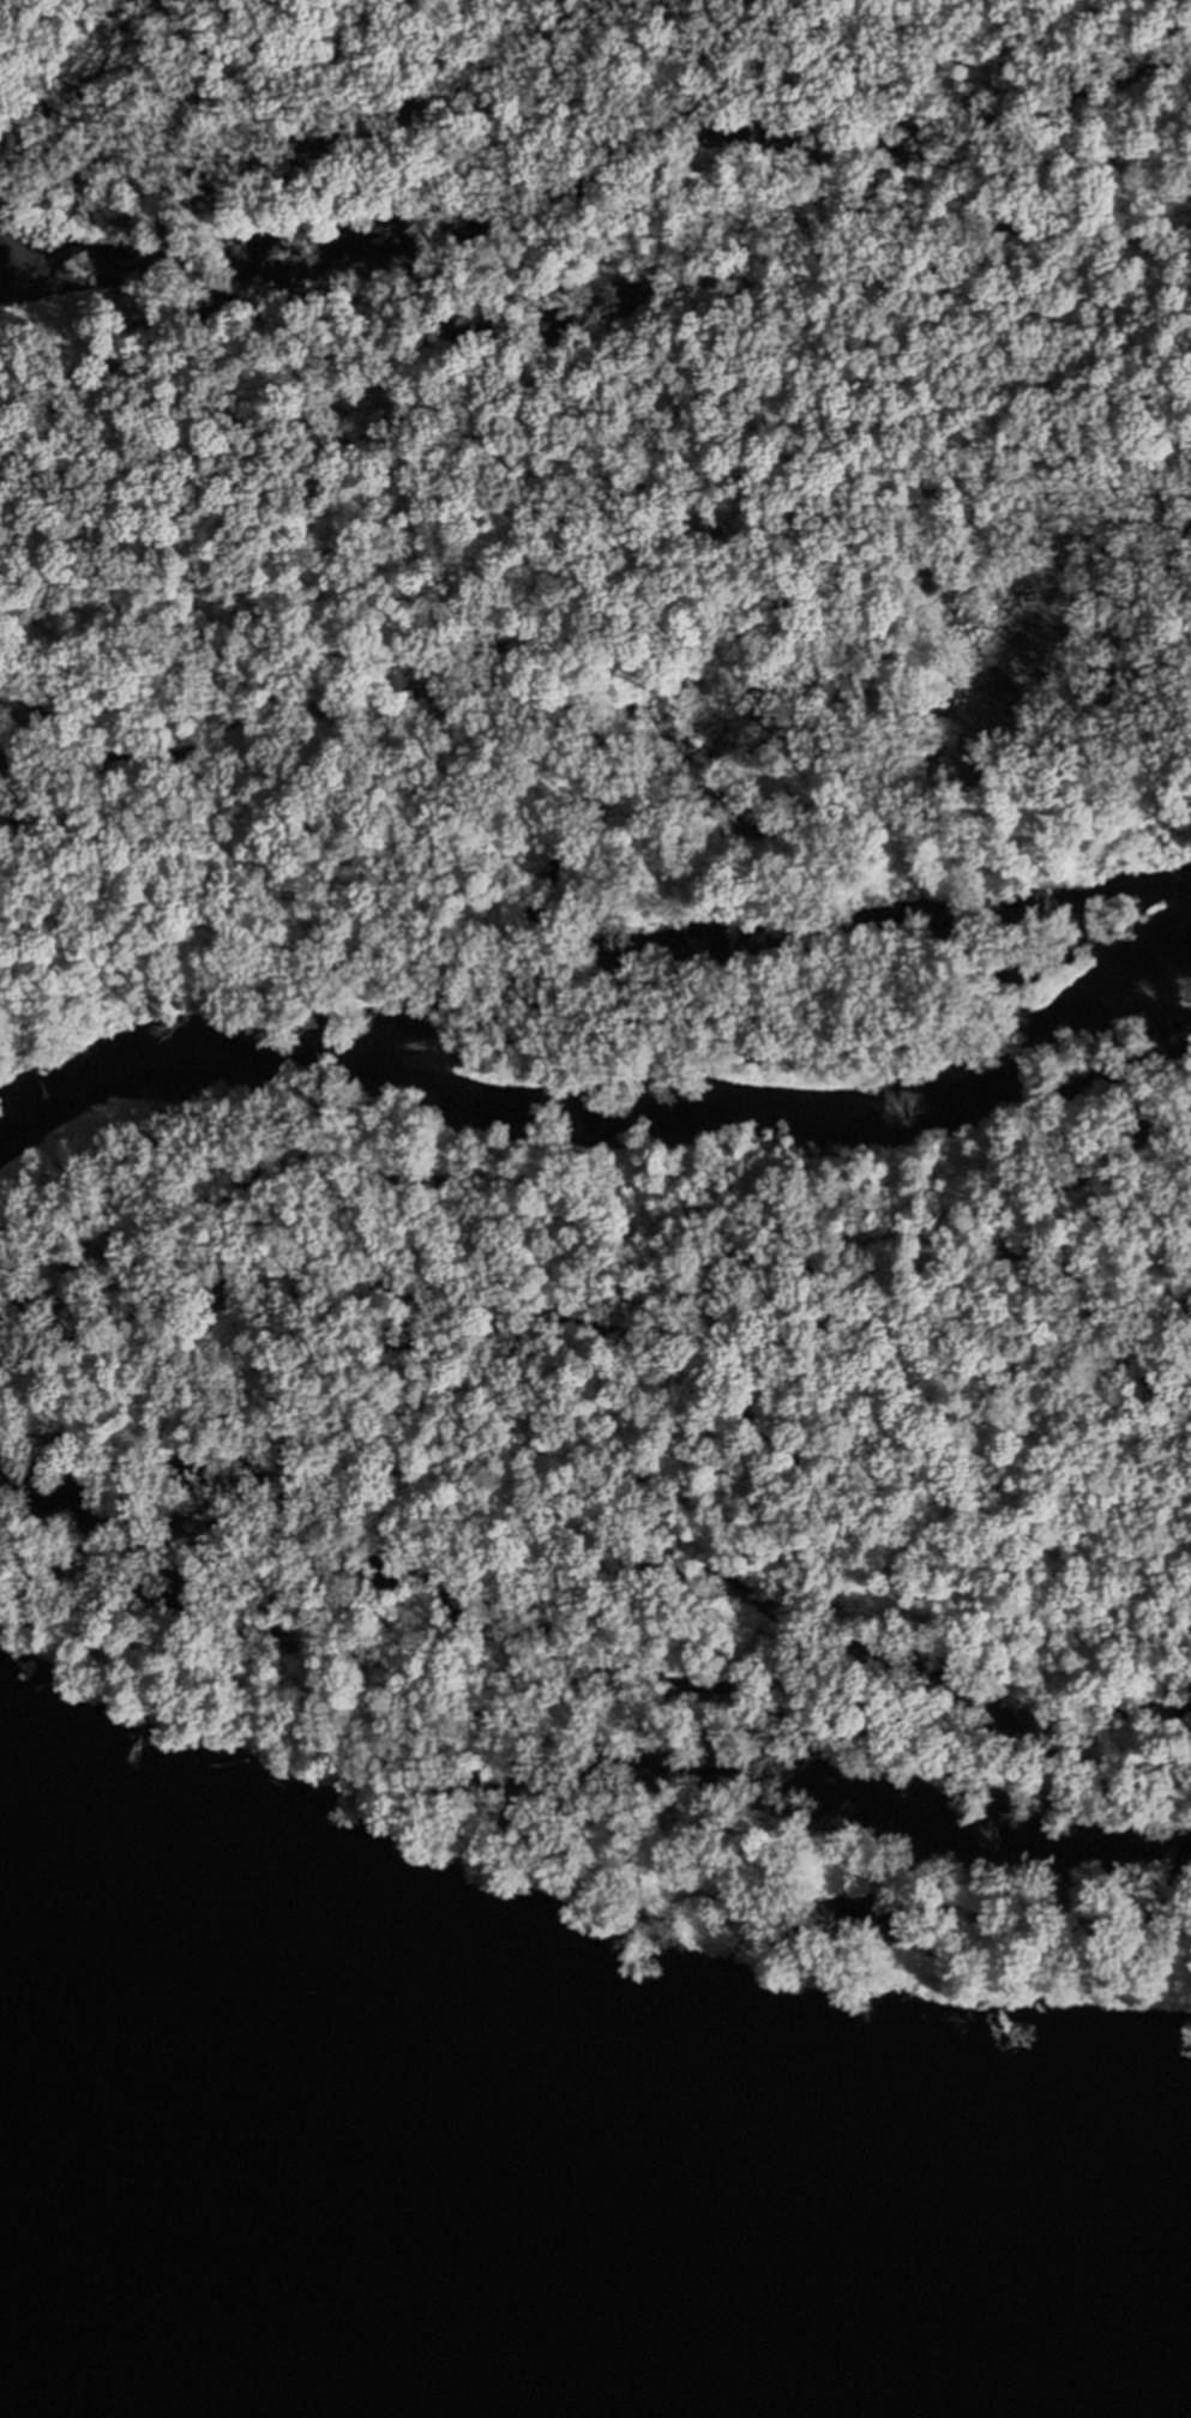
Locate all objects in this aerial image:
river: (375, 2240)
river: (972, 2273)

